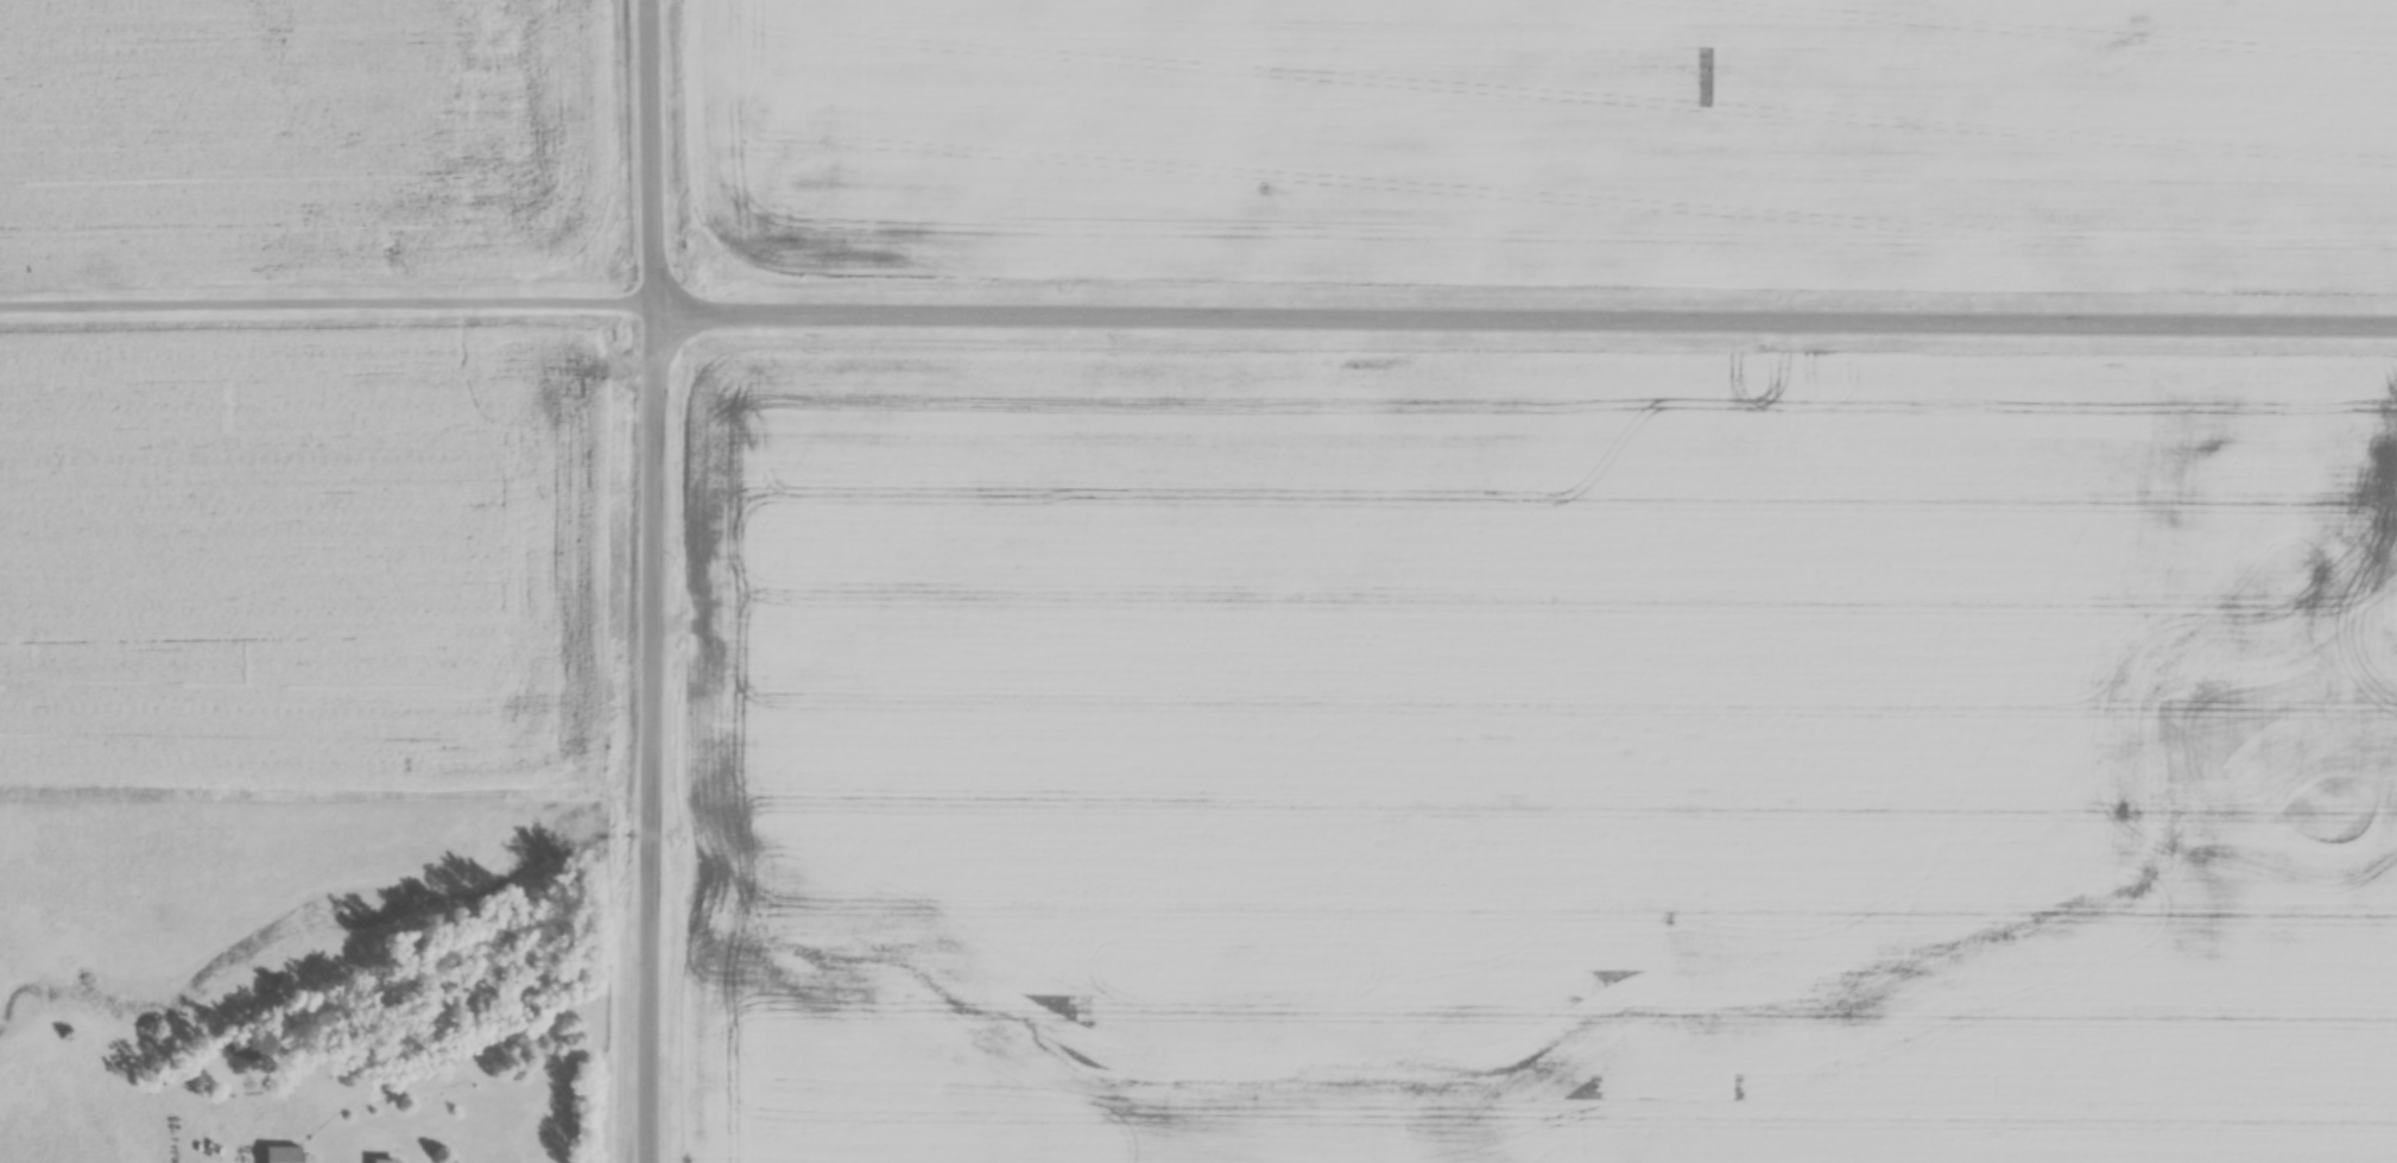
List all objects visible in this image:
road: (644, 162)
road: (323, 304)
road: (1522, 331)
road: (645, 744)
building: (279, 1156)
building: (375, 1162)

